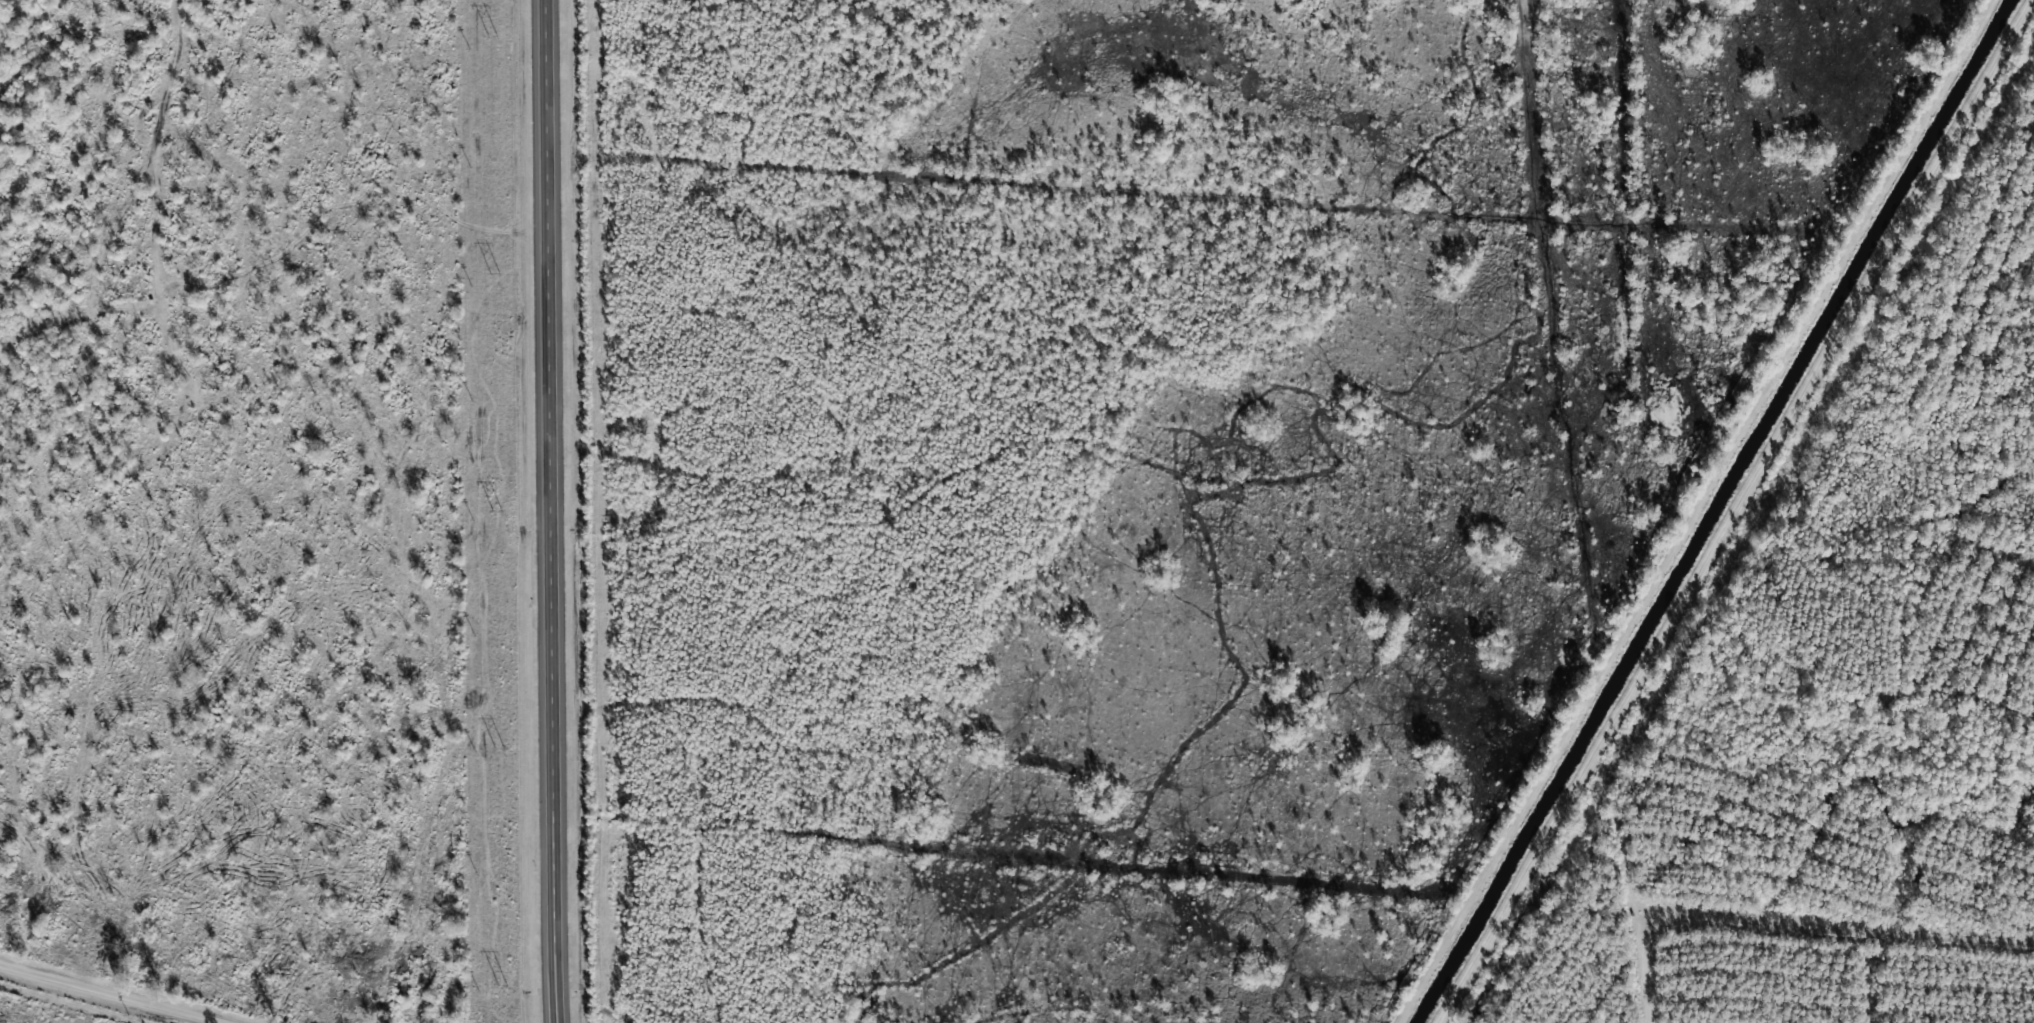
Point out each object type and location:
road: (550, 511)
road: (144, 984)

